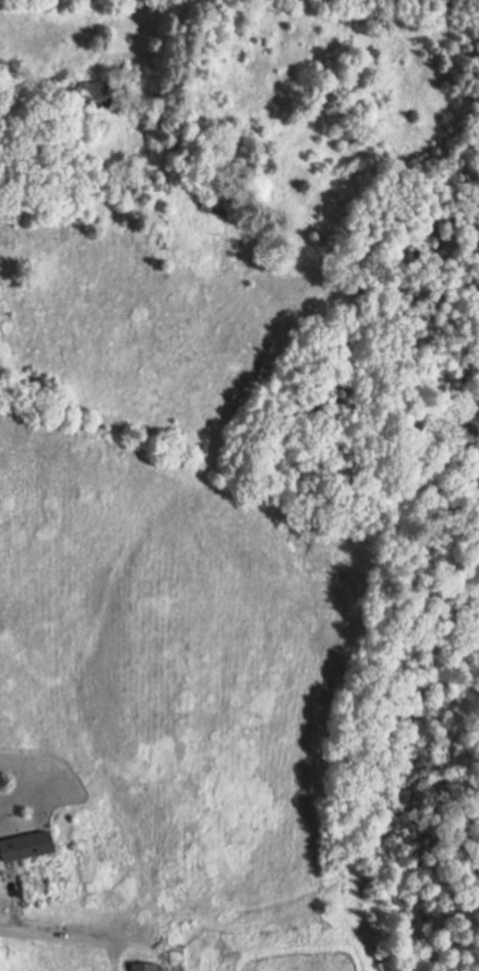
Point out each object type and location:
building: (99, 91)
building: (157, 182)
building: (152, 187)
building: (214, 199)
building: (29, 844)
building: (101, 852)
road: (44, 926)
building: (146, 966)

